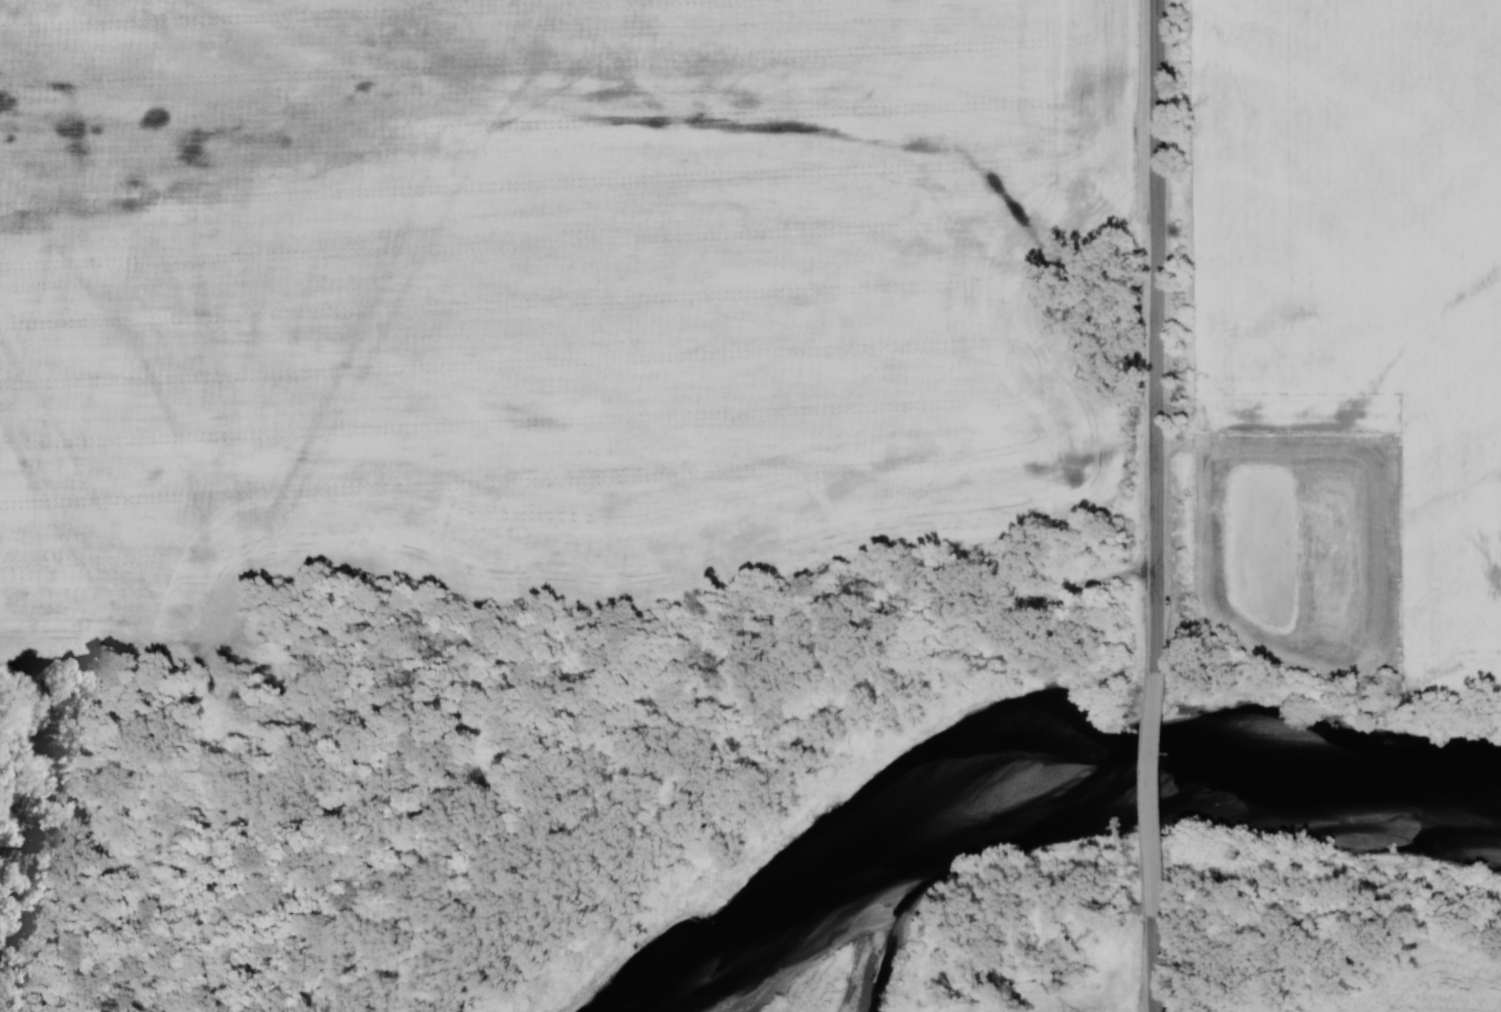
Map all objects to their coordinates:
road: (1154, 335)
river: (1067, 750)
road: (1154, 793)
road: (1155, 964)

